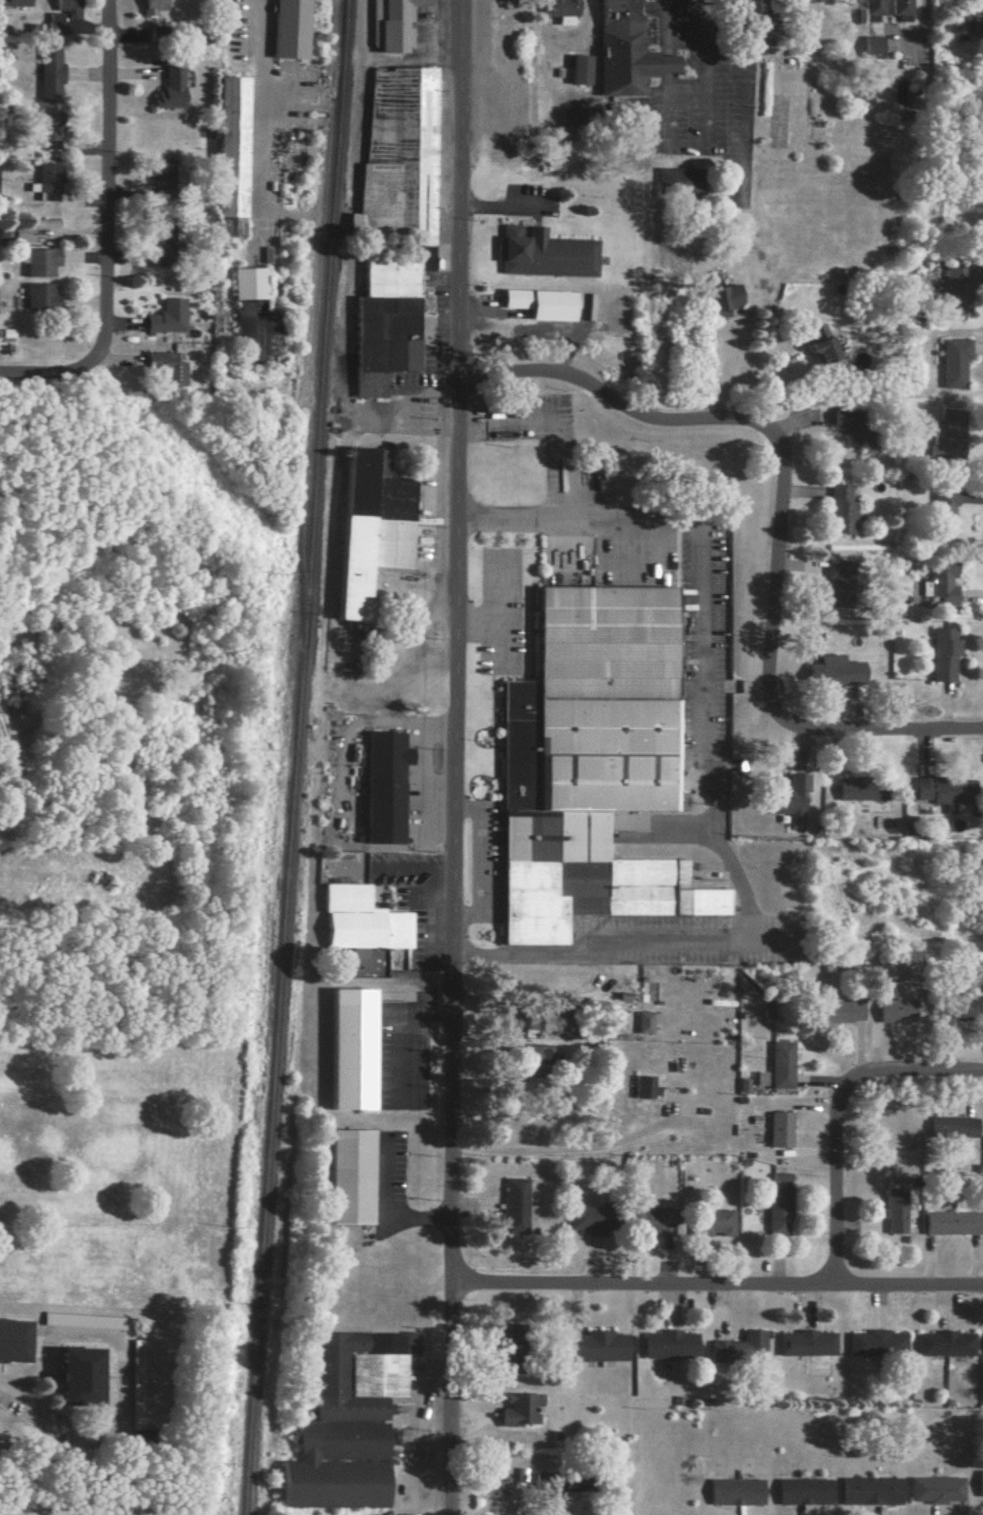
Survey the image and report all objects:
building: (13, 2)
building: (150, 6)
building: (65, 7)
building: (747, 9)
building: (871, 9)
building: (899, 9)
building: (560, 11)
building: (51, 23)
building: (971, 23)
building: (391, 24)
building: (287, 29)
building: (871, 47)
building: (625, 50)
road: (703, 52)
building: (578, 70)
building: (45, 73)
building: (168, 85)
road: (259, 113)
building: (44, 130)
building: (228, 152)
building: (385, 155)
road: (106, 177)
building: (678, 180)
building: (45, 181)
road: (494, 207)
building: (44, 230)
building: (161, 246)
building: (545, 254)
building: (39, 262)
building: (954, 291)
building: (39, 297)
building: (723, 299)
building: (539, 304)
building: (249, 314)
building: (165, 317)
building: (384, 321)
building: (820, 343)
building: (952, 361)
building: (167, 364)
road: (53, 376)
road: (772, 382)
building: (834, 419)
road: (757, 424)
building: (946, 433)
building: (837, 509)
building: (941, 510)
road: (572, 514)
building: (369, 526)
building: (836, 581)
building: (937, 583)
road: (499, 609)
road: (499, 642)
building: (940, 653)
building: (830, 671)
road: (880, 731)
railway: (292, 757)
road: (456, 757)
building: (588, 763)
road: (422, 765)
building: (383, 786)
building: (856, 790)
building: (942, 790)
building: (786, 797)
road: (719, 842)
road: (485, 854)
building: (361, 921)
building: (782, 976)
building: (954, 1008)
building: (892, 1011)
building: (837, 1012)
building: (544, 1019)
building: (640, 1022)
road: (422, 1031)
building: (351, 1049)
building: (533, 1060)
building: (777, 1064)
road: (915, 1071)
building: (758, 1079)
building: (739, 1085)
building: (640, 1087)
building: (950, 1127)
building: (776, 1129)
road: (566, 1149)
building: (350, 1177)
building: (778, 1177)
road: (837, 1183)
building: (514, 1206)
building: (778, 1211)
building: (893, 1211)
road: (390, 1212)
building: (585, 1220)
building: (641, 1220)
building: (713, 1223)
building: (949, 1223)
road: (717, 1288)
building: (83, 1321)
building: (12, 1341)
building: (878, 1341)
building: (808, 1342)
building: (947, 1342)
building: (669, 1345)
building: (597, 1346)
building: (740, 1348)
road: (7, 1377)
building: (77, 1377)
road: (124, 1383)
building: (136, 1384)
building: (520, 1409)
building: (346, 1424)
building: (981, 1482)
building: (937, 1488)
building: (871, 1489)
building: (735, 1492)
building: (802, 1492)

